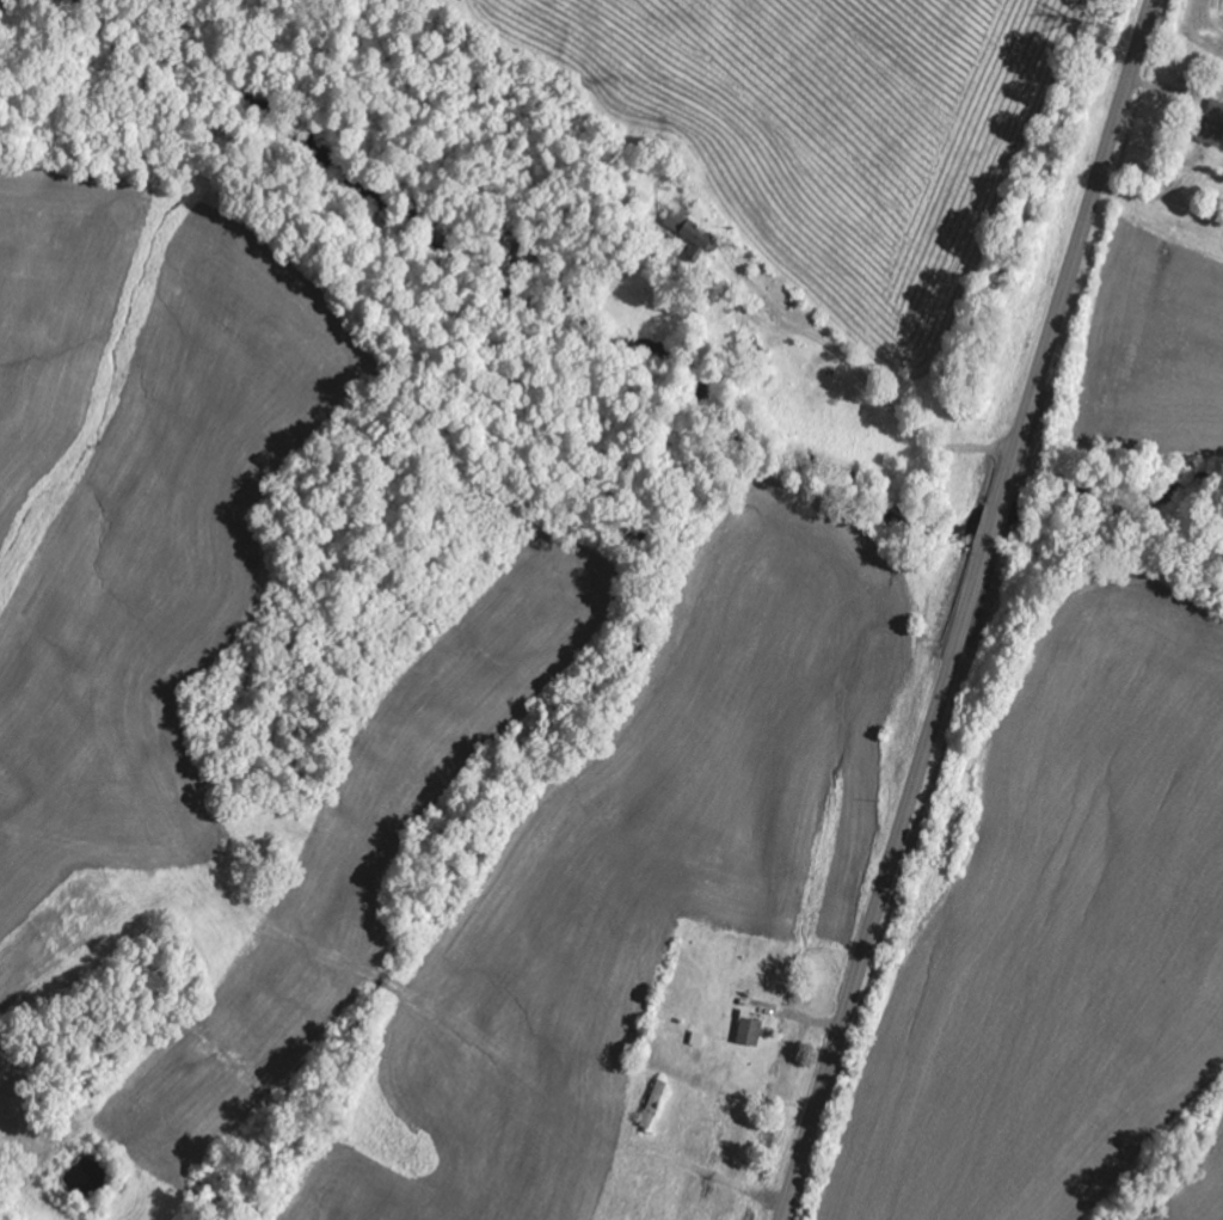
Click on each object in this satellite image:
building: (1212, 124)
road: (966, 609)
building: (751, 1030)

